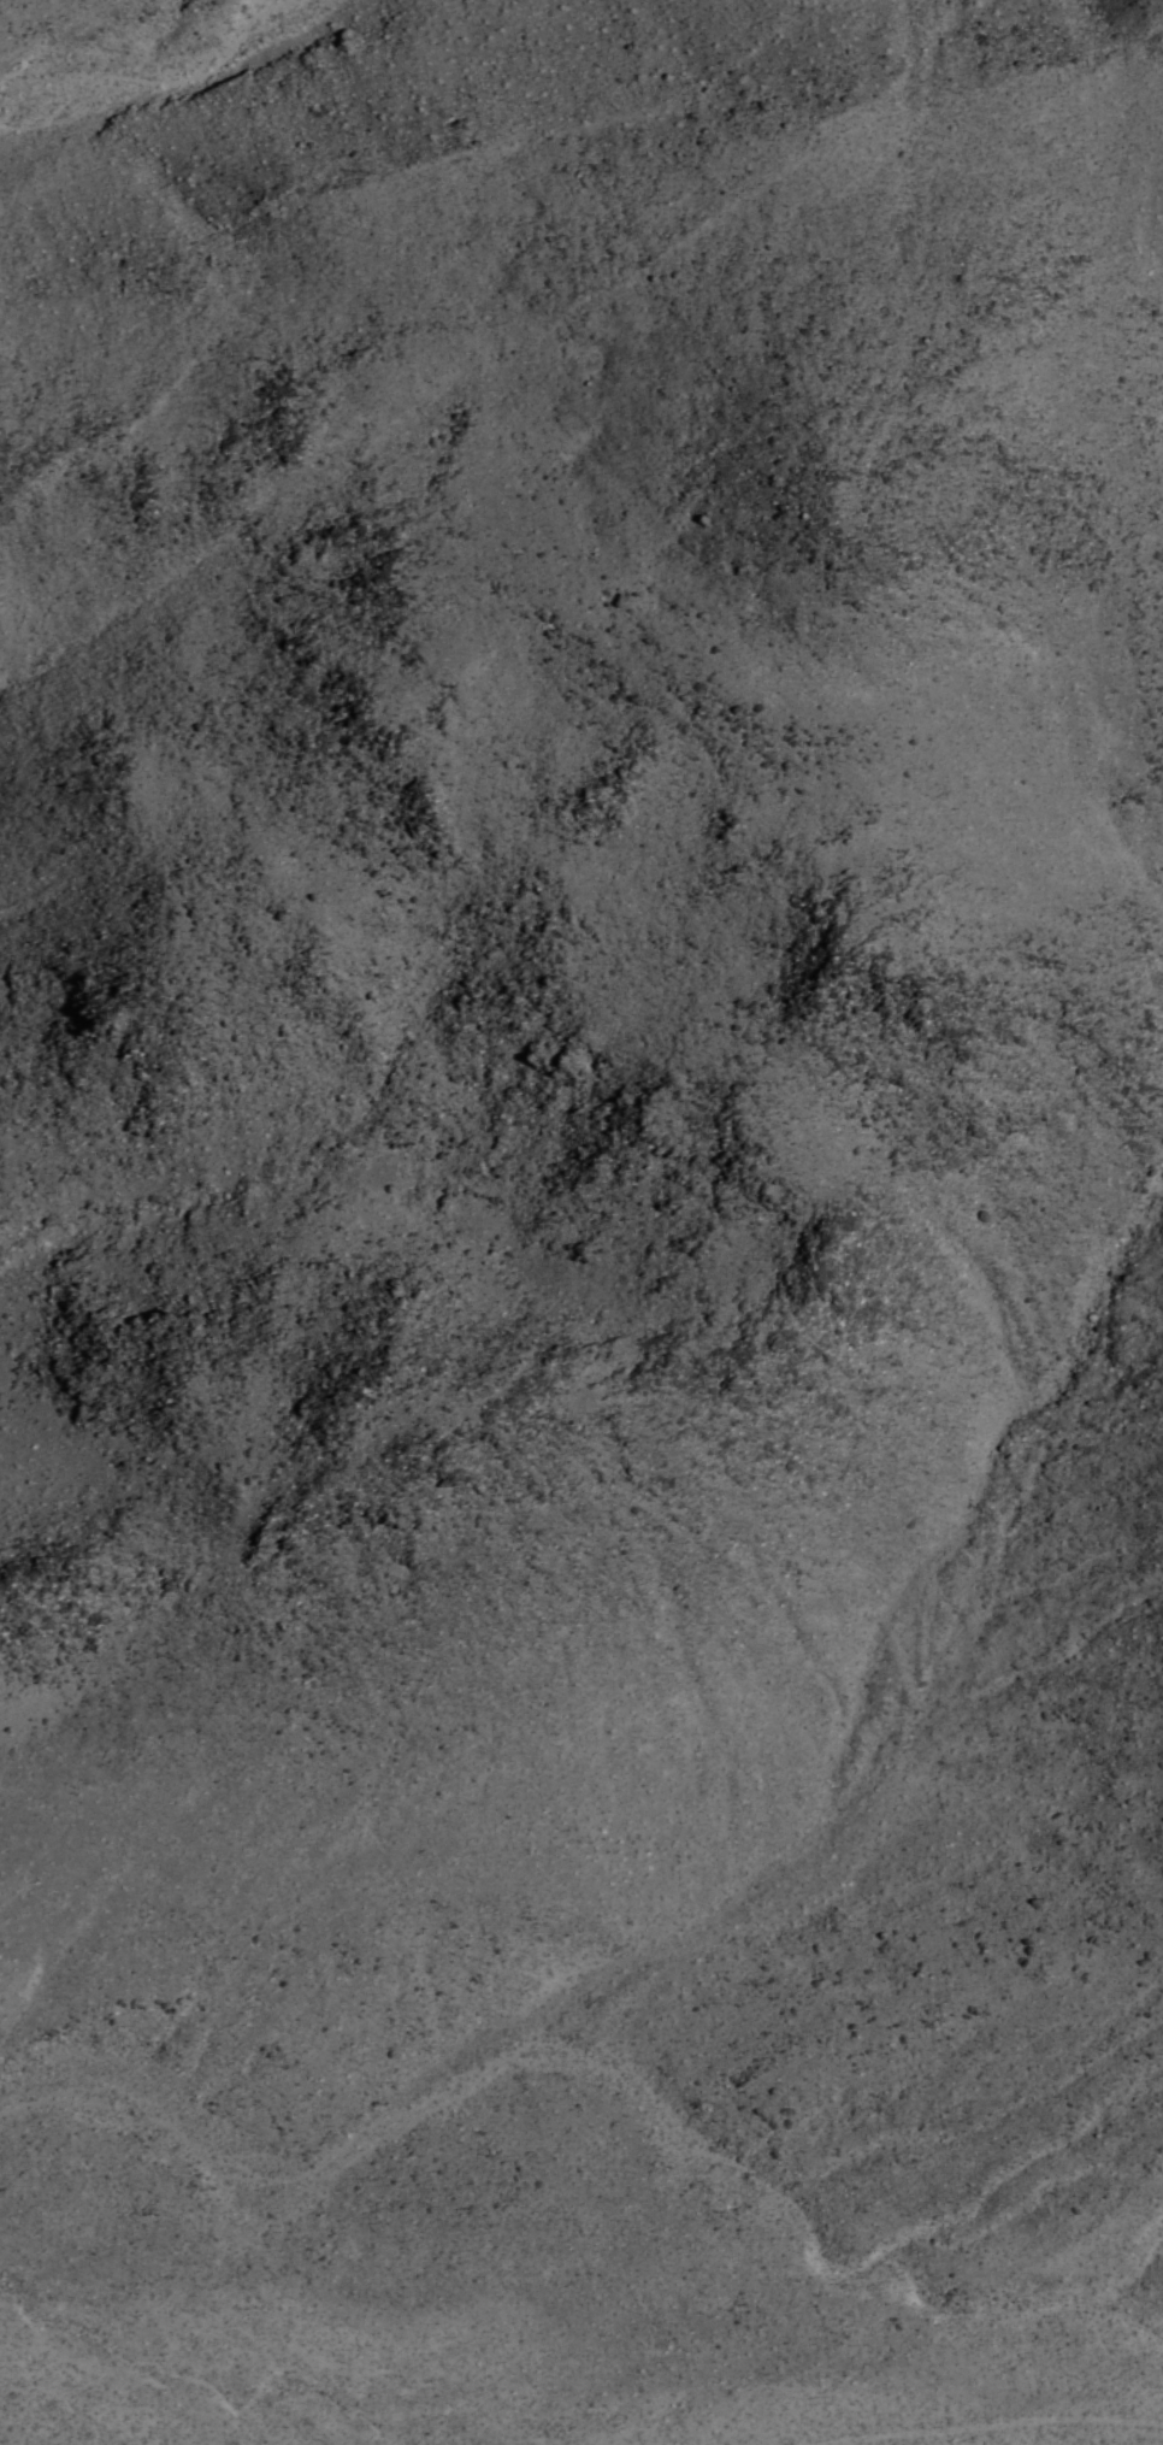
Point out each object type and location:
road: (980, 2425)

